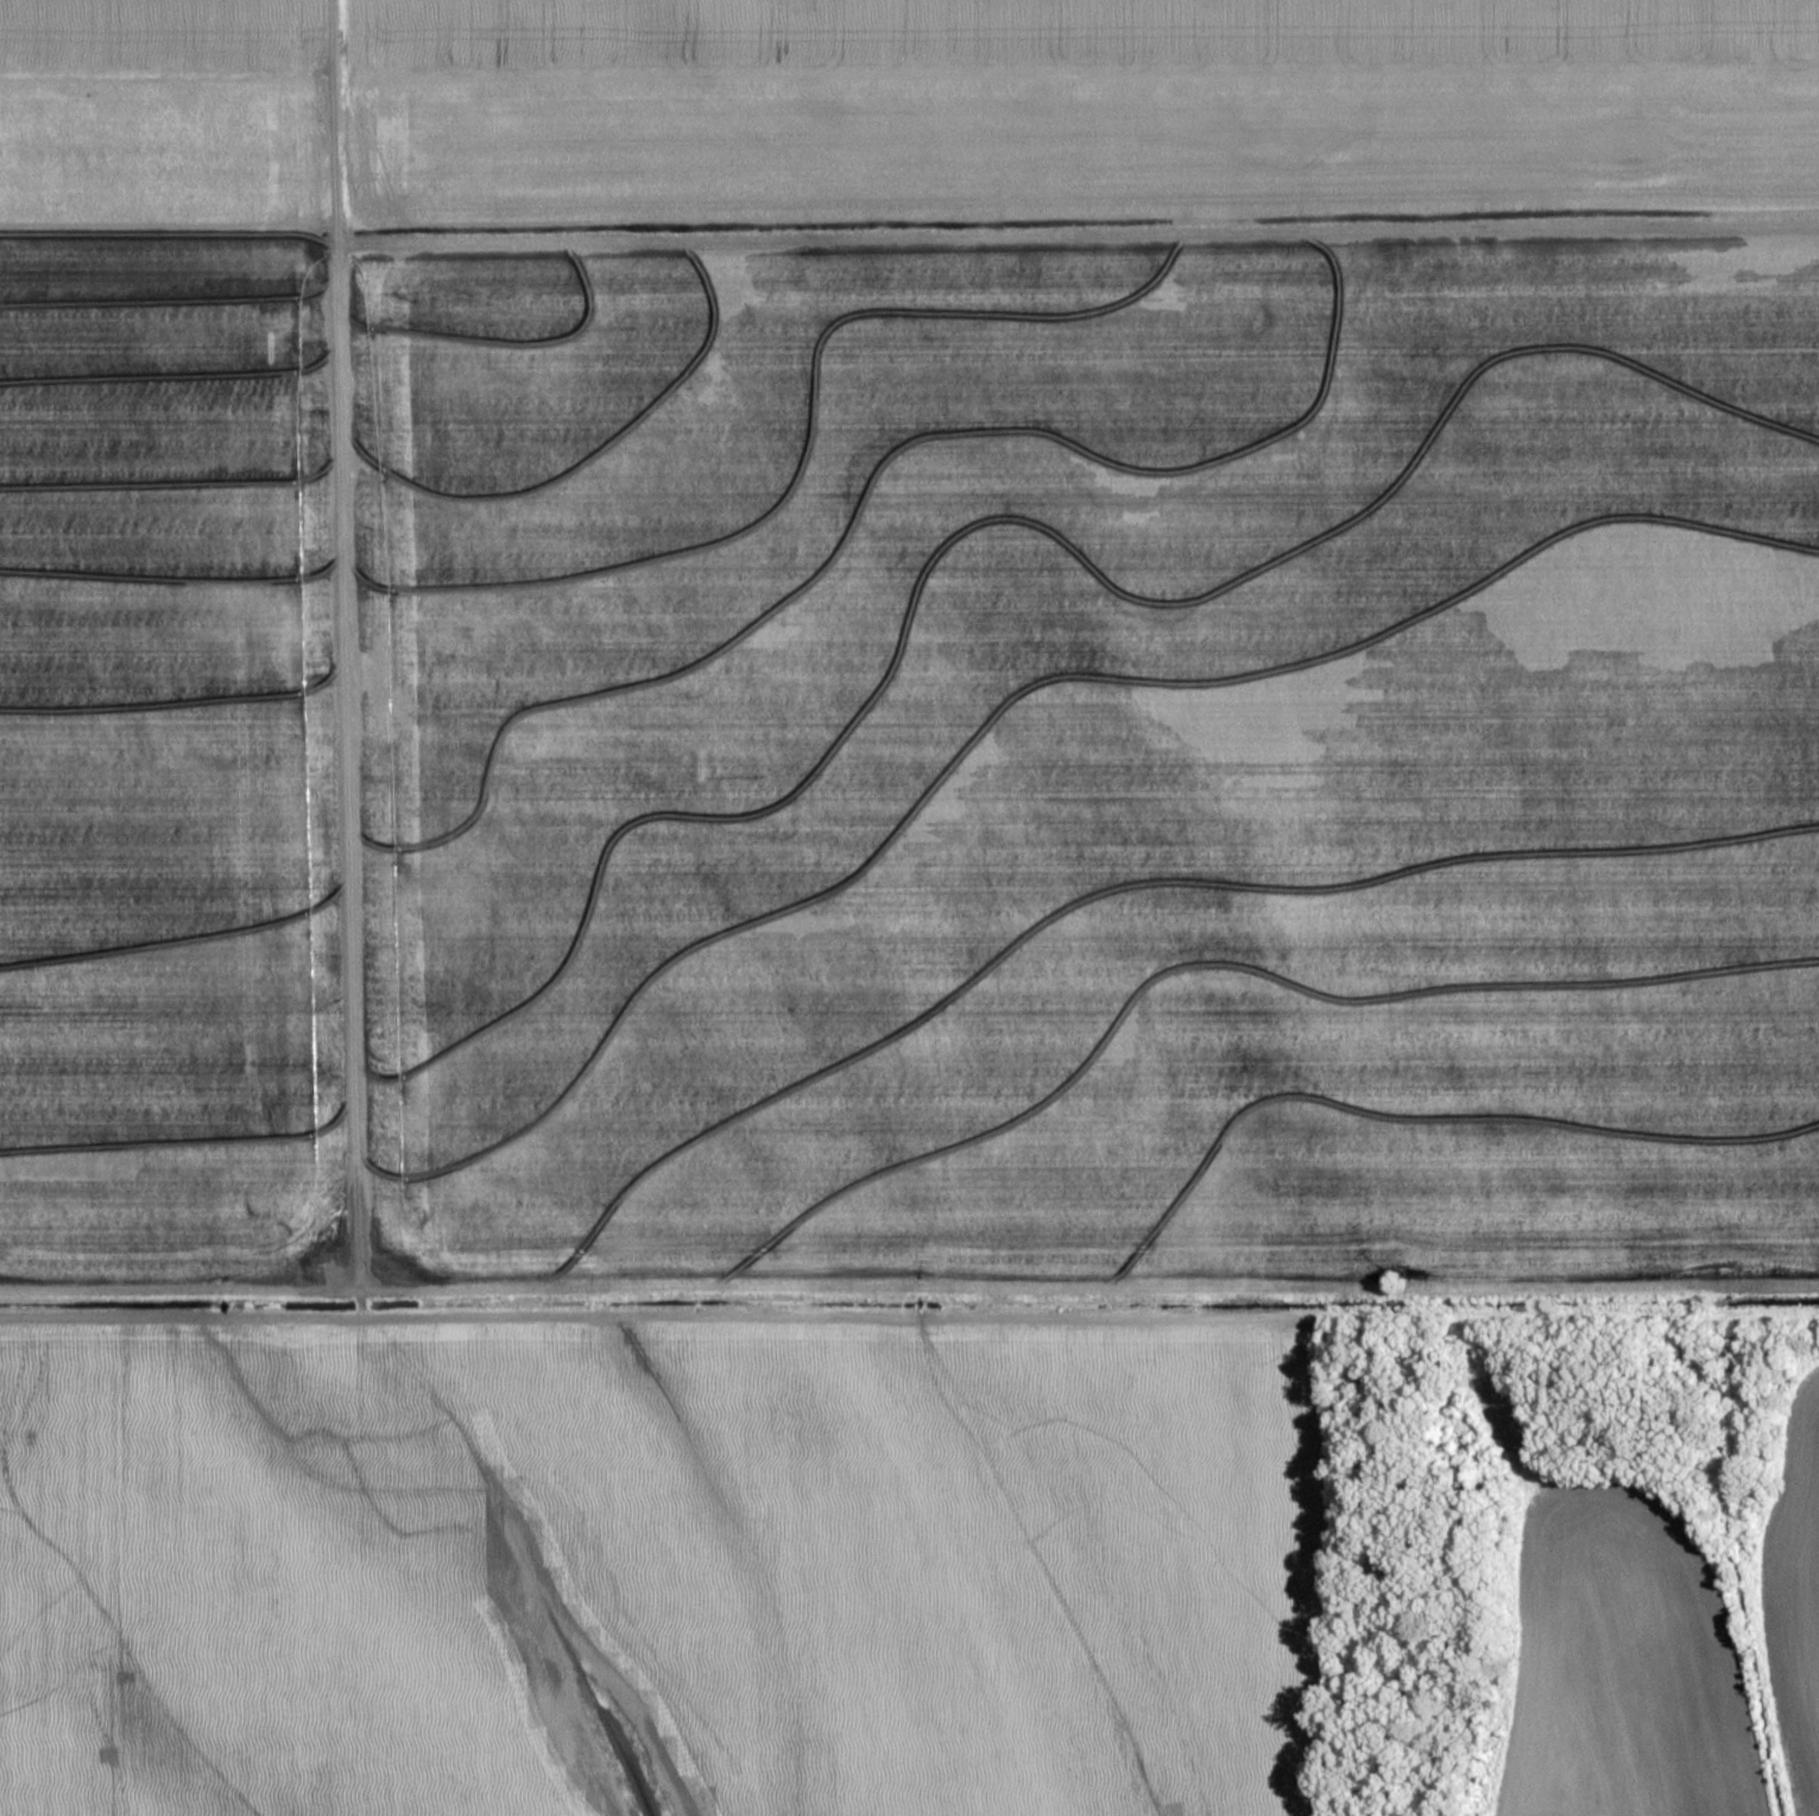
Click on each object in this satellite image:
road: (336, 124)
road: (909, 241)
road: (346, 780)
road: (909, 1314)
road: (289, 1562)

